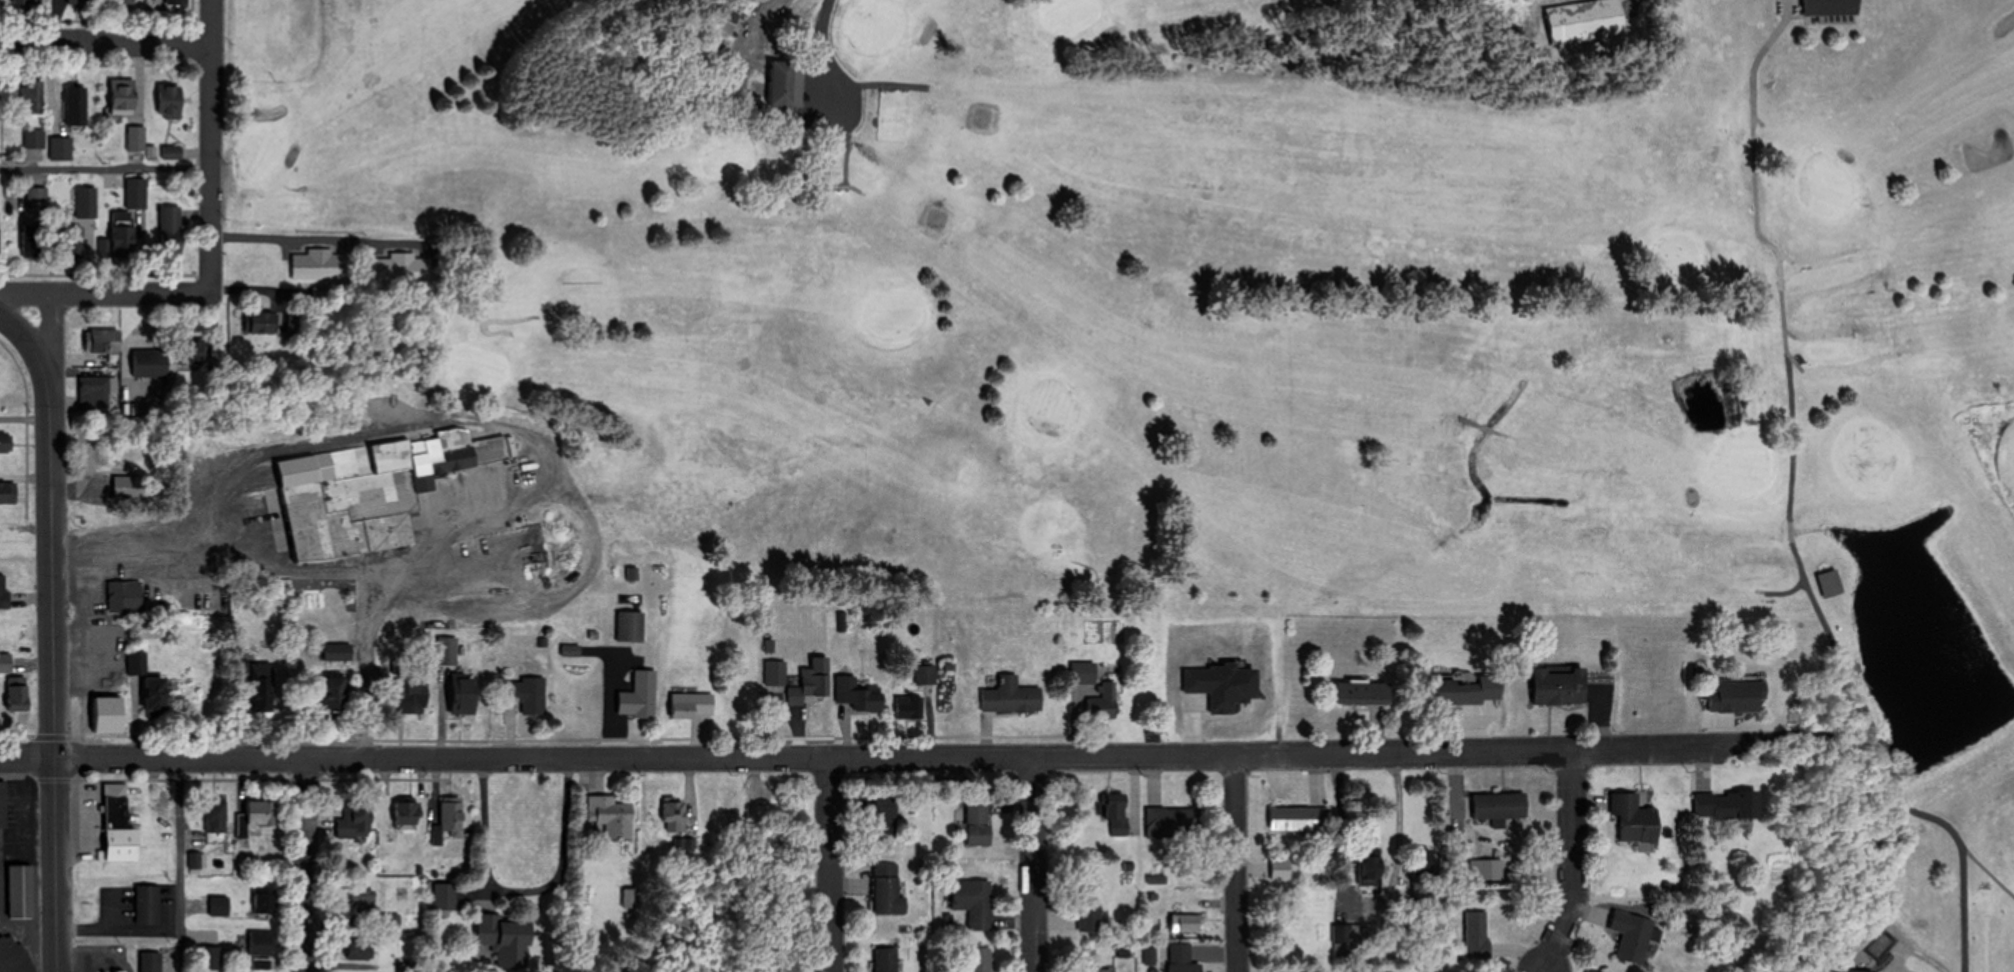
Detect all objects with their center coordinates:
building: (32, 1)
building: (176, 1)
building: (79, 2)
building: (124, 2)
building: (1831, 7)
building: (1585, 19)
building: (728, 21)
road: (104, 40)
road: (822, 59)
road: (874, 82)
building: (787, 83)
building: (32, 96)
building: (123, 97)
building: (170, 100)
building: (76, 104)
road: (1754, 132)
building: (34, 137)
building: (136, 137)
building: (61, 147)
road: (209, 149)
building: (171, 152)
road: (105, 167)
building: (136, 192)
building: (37, 198)
building: (87, 201)
building: (171, 226)
building: (123, 231)
building: (34, 238)
building: (320, 265)
building: (403, 265)
road: (105, 300)
road: (488, 319)
building: (264, 322)
park: (1136, 325)
road: (53, 339)
building: (106, 340)
building: (150, 363)
building: (95, 392)
road: (492, 426)
road: (1487, 427)
building: (6, 442)
road: (1790, 459)
building: (126, 485)
building: (372, 490)
building: (8, 494)
building: (4, 591)
building: (125, 597)
building: (630, 627)
road: (54, 632)
building: (447, 650)
building: (337, 652)
building: (6, 663)
building: (1084, 673)
building: (776, 674)
building: (813, 681)
building: (1560, 685)
building: (261, 692)
building: (335, 692)
building: (1463, 692)
building: (1365, 693)
building: (18, 694)
building: (465, 694)
building: (859, 694)
building: (156, 695)
building: (527, 695)
building: (410, 696)
building: (1012, 696)
building: (1736, 696)
building: (637, 702)
building: (1101, 703)
building: (693, 704)
building: (911, 707)
building: (110, 714)
road: (920, 754)
road: (27, 761)
building: (771, 803)
building: (1501, 805)
building: (1728, 805)
building: (884, 812)
building: (218, 814)
building: (407, 814)
building: (1118, 815)
building: (609, 817)
building: (256, 818)
building: (1292, 819)
building: (1636, 819)
building: (356, 820)
building: (449, 820)
building: (1175, 821)
building: (978, 822)
road: (1397, 824)
building: (121, 827)
building: (679, 830)
building: (197, 861)
road: (1570, 861)
road: (1032, 862)
road: (1236, 862)
road: (822, 863)
road: (297, 865)
road: (184, 866)
building: (1489, 869)
road: (1989, 869)
building: (1371, 871)
building: (887, 890)
building: (21, 892)
building: (446, 899)
building: (263, 901)
building: (364, 901)
building: (973, 902)
building: (148, 906)
building: (220, 906)
building: (1090, 915)
building: (1186, 923)
building: (1477, 934)
building: (1344, 935)
building: (1634, 935)
building: (505, 936)
building: (261, 943)
building: (361, 949)
building: (1867, 951)
building: (13, 954)
building: (1182, 959)
building: (886, 960)
building: (980, 960)
building: (151, 962)
building: (1096, 970)
building: (1855, 971)

